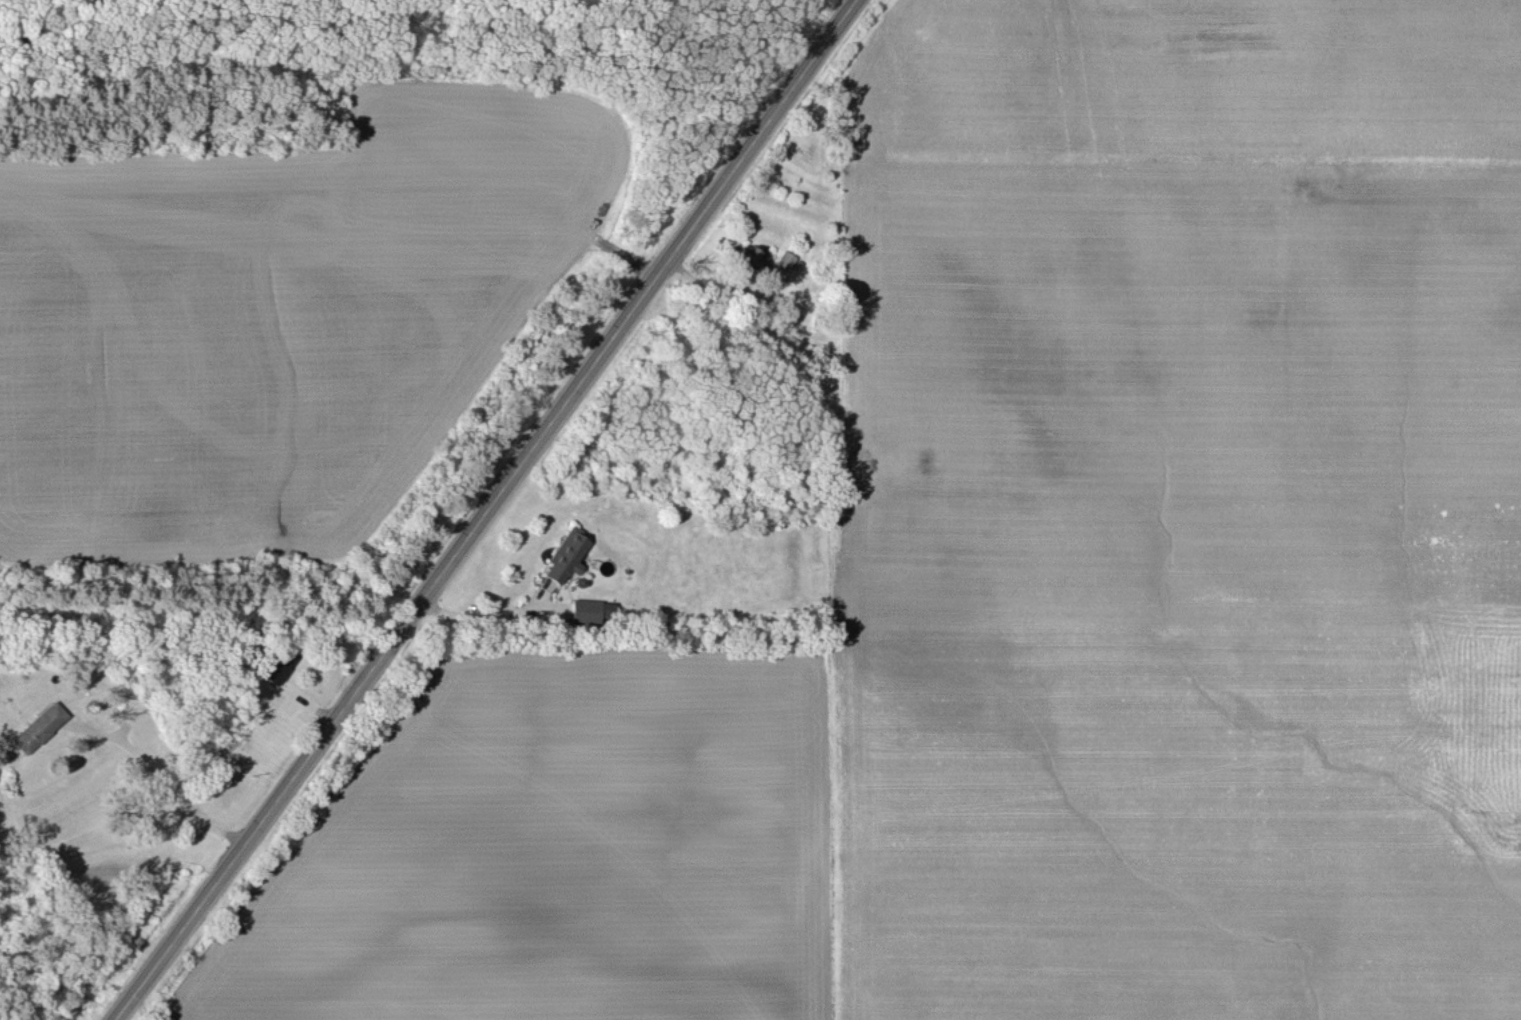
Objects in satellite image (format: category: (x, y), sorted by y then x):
building: (746, 256)
building: (783, 259)
road: (487, 510)
building: (565, 554)
building: (590, 609)
road: (475, 613)
building: (276, 664)
building: (37, 726)
road: (165, 783)

